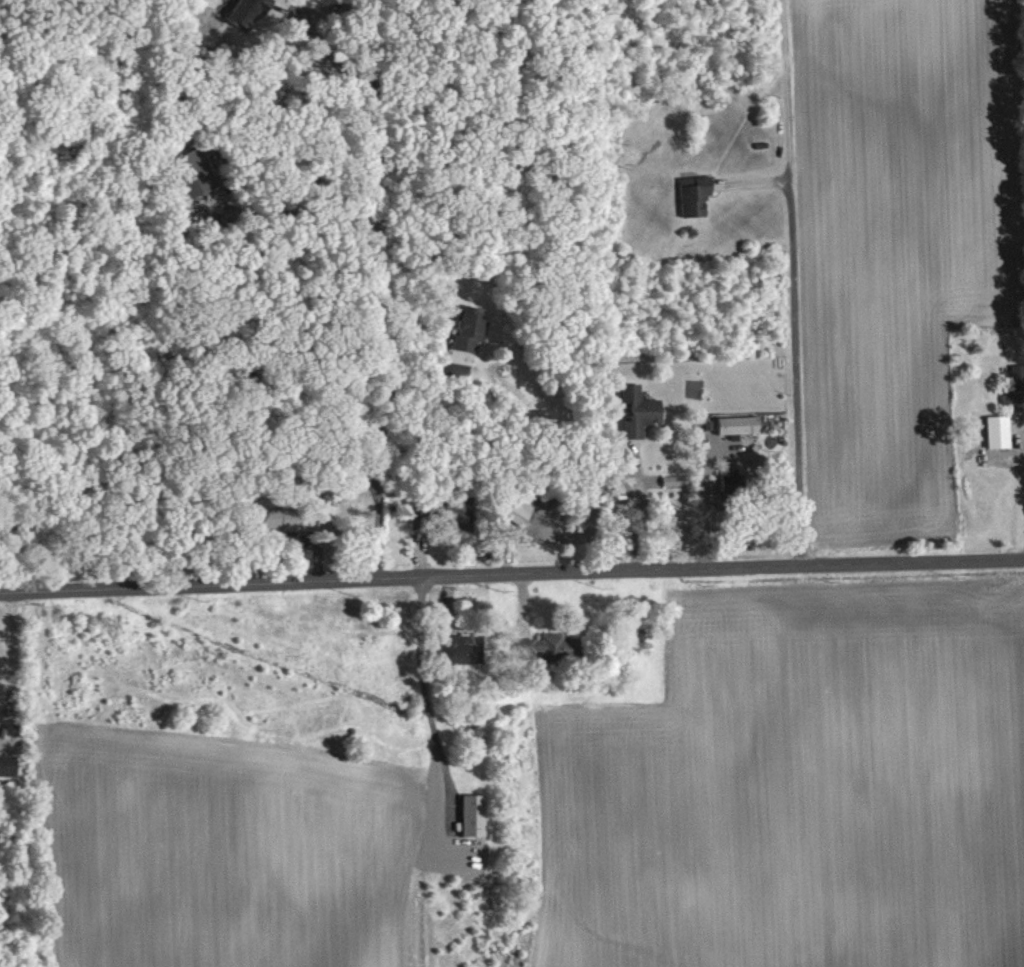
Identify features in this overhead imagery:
building: (249, 12)
building: (196, 172)
building: (697, 195)
road: (797, 284)
road: (379, 290)
building: (472, 329)
building: (1018, 388)
building: (641, 410)
building: (741, 425)
building: (1001, 431)
building: (679, 480)
building: (736, 482)
road: (703, 508)
building: (524, 510)
building: (465, 512)
road: (638, 512)
building: (301, 517)
building: (421, 517)
road: (511, 576)
building: (552, 647)
building: (465, 649)
road: (16, 656)
road: (427, 681)
building: (9, 765)
building: (476, 815)

